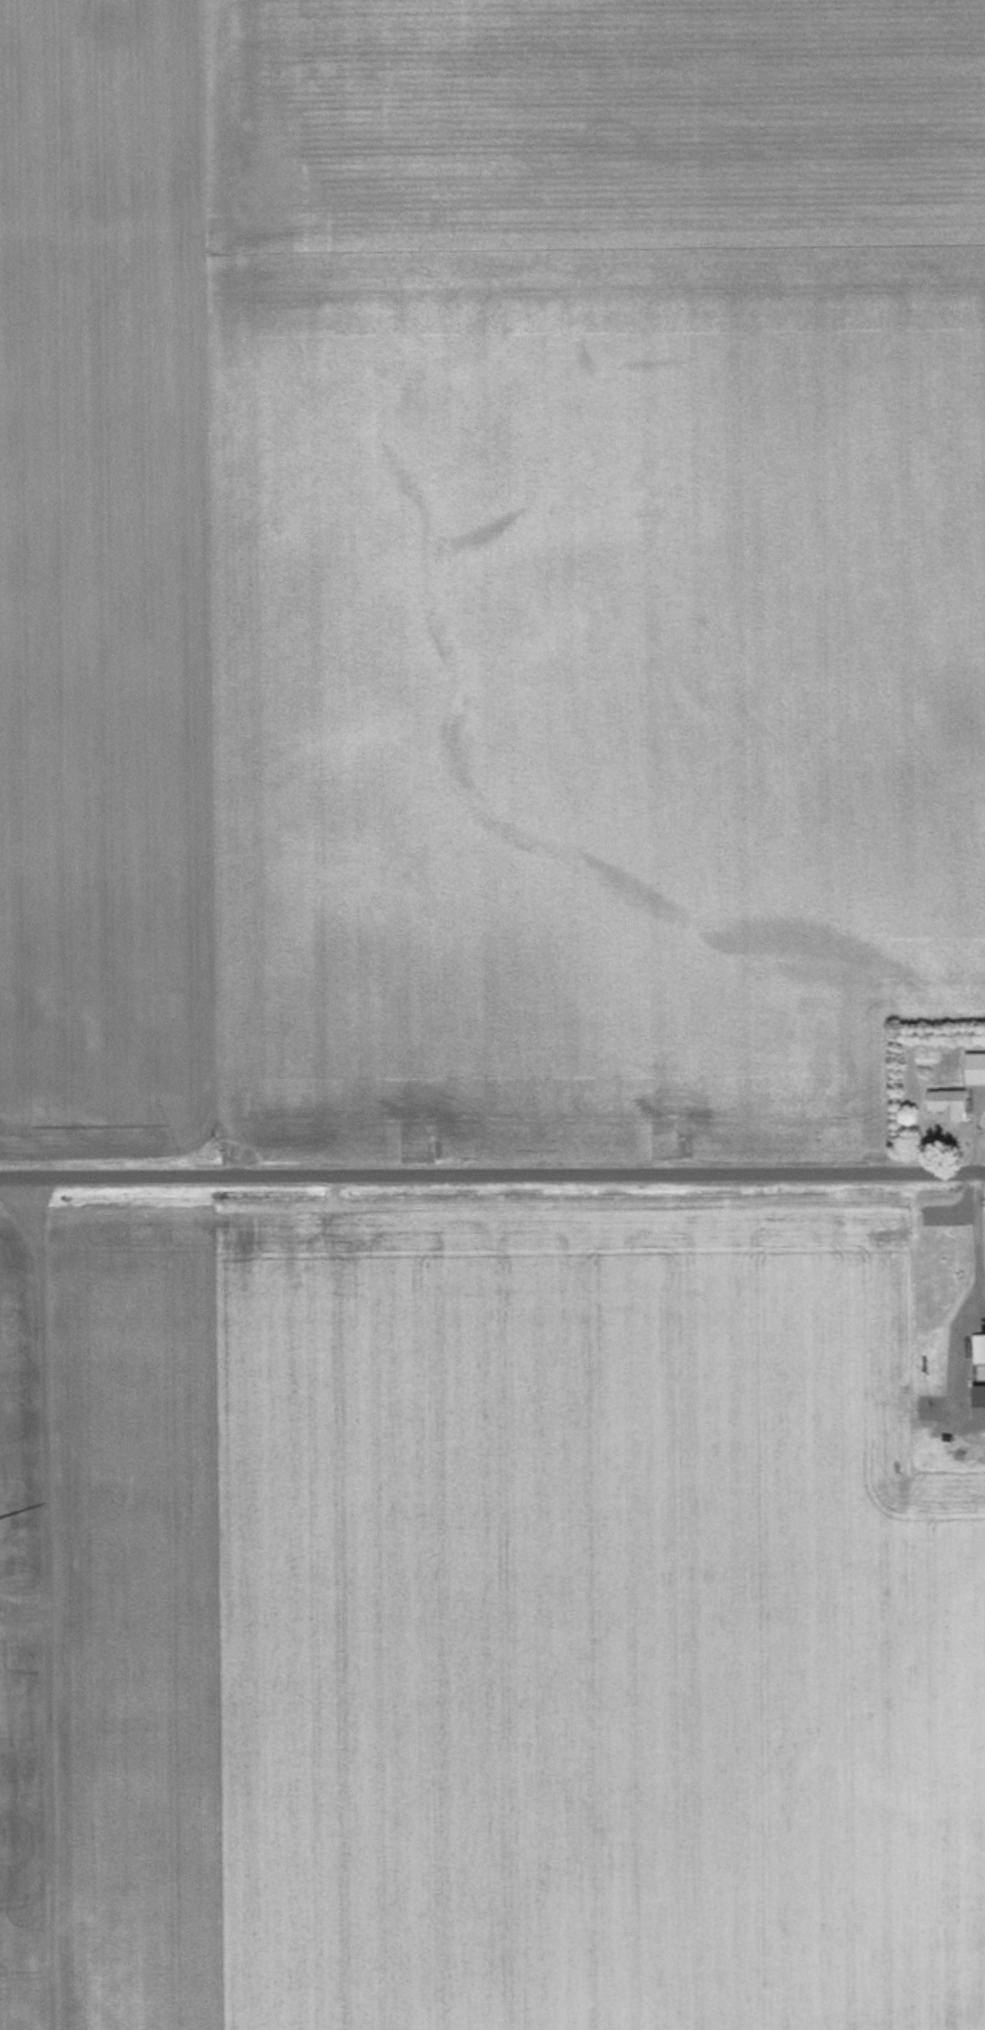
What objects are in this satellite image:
building: (975, 1066)
building: (947, 1102)
road: (492, 1173)
building: (978, 1347)
road: (48, 1602)

